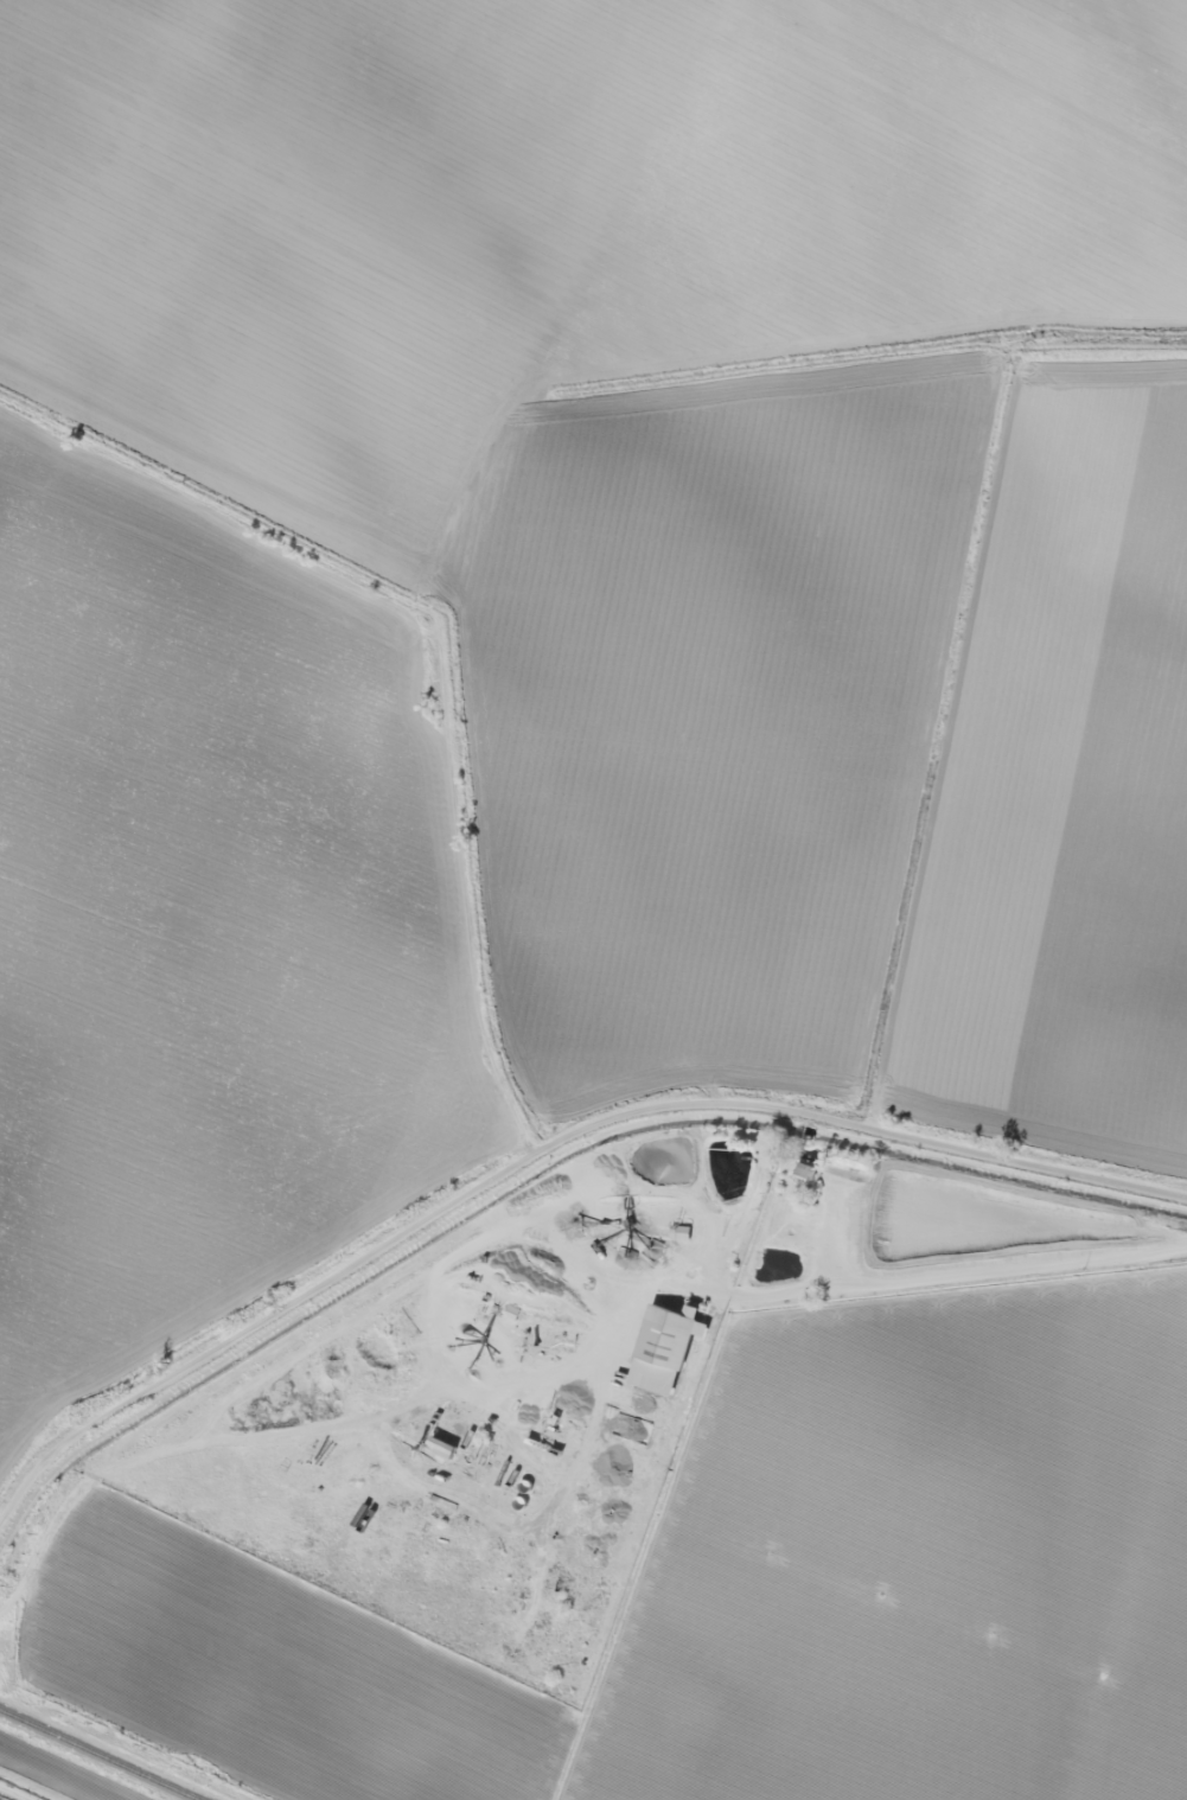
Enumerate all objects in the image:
railway: (97, 1755)

